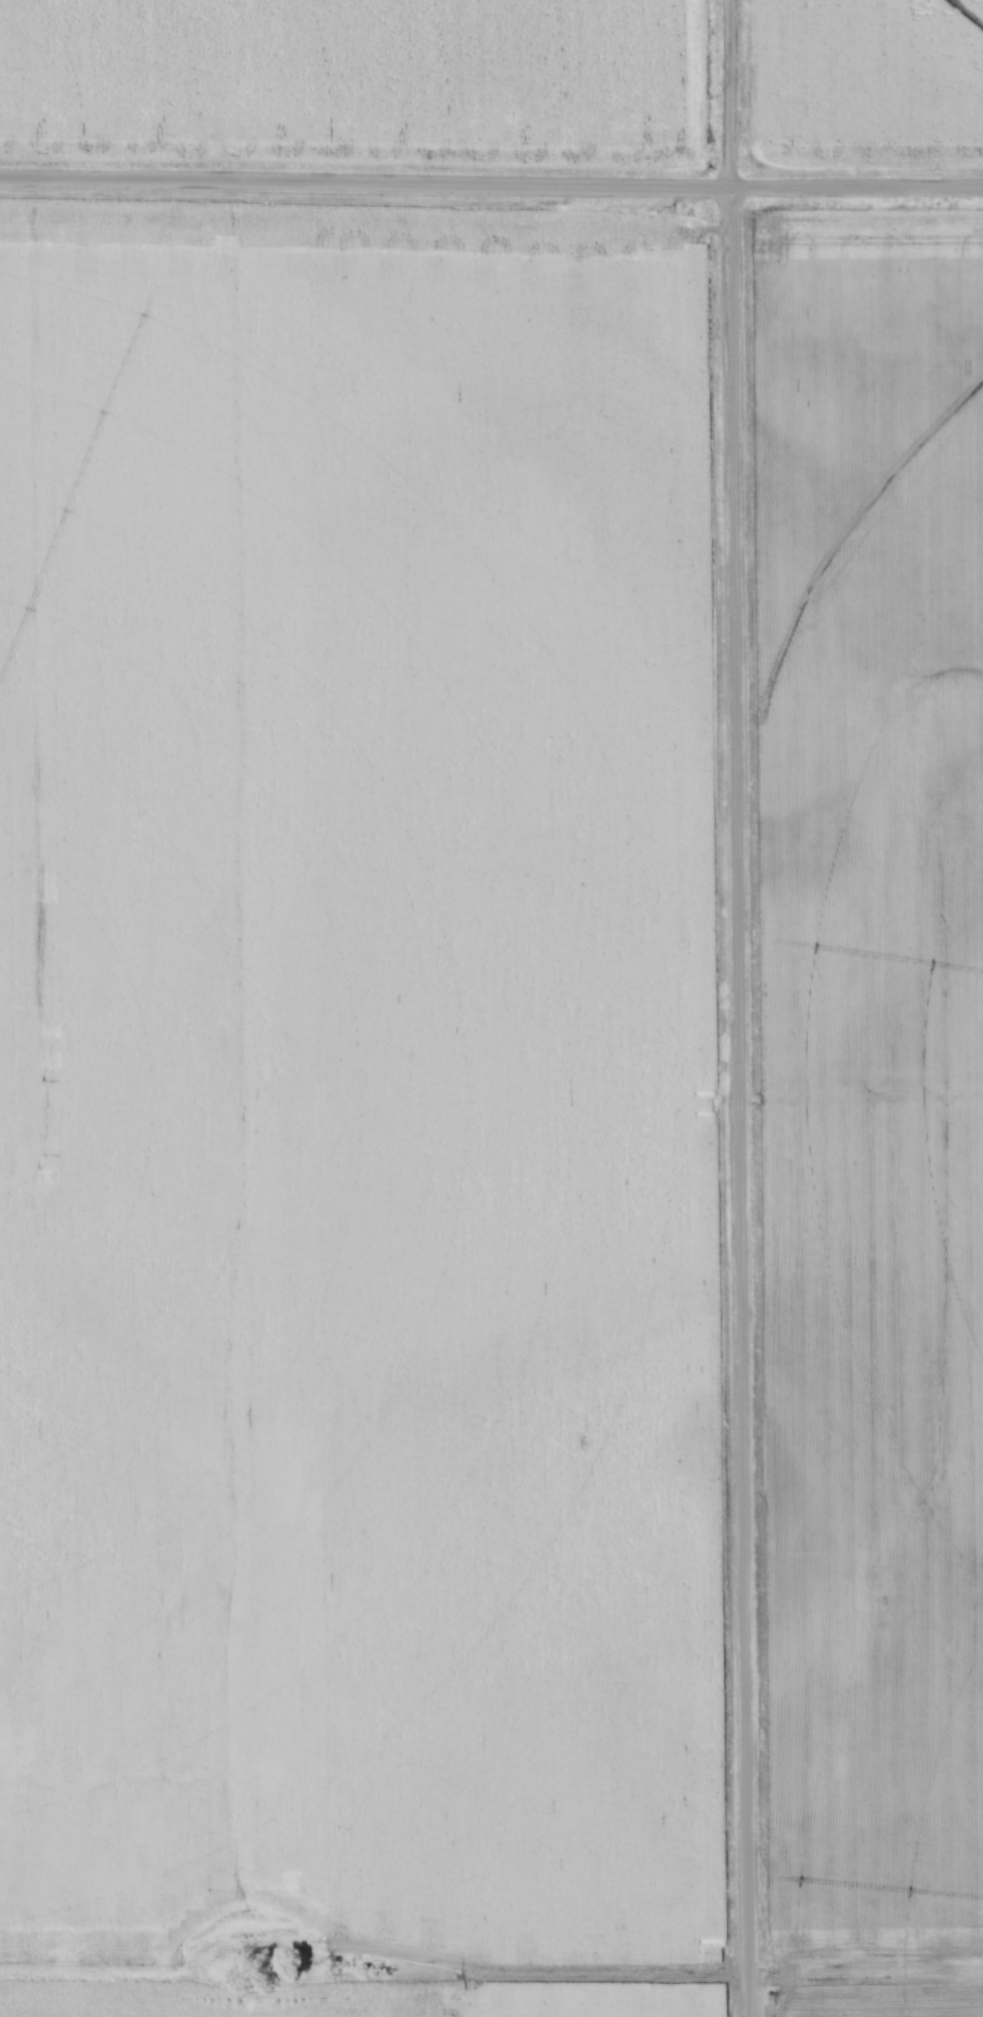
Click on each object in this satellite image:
road: (491, 185)
road: (732, 1008)
road: (862, 1964)

